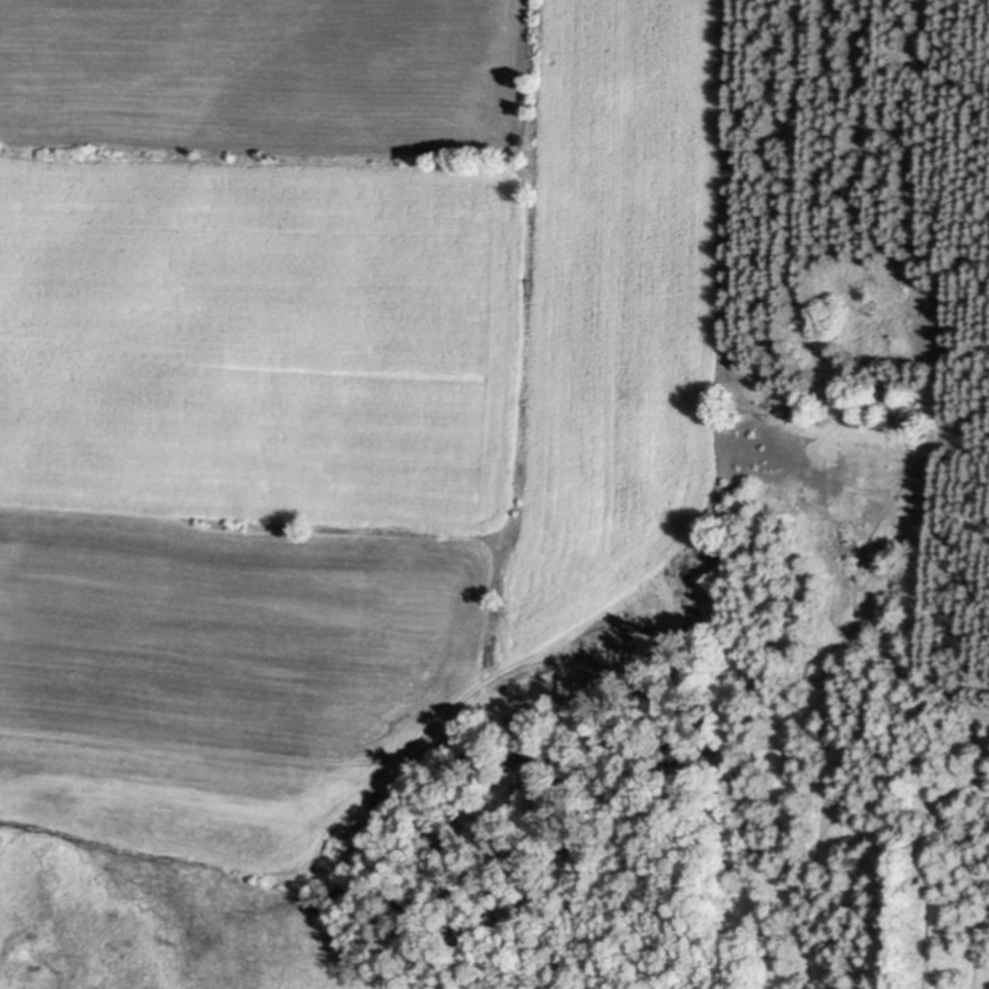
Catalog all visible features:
building: (711, 520)
building: (707, 536)
building: (595, 657)
building: (520, 699)

